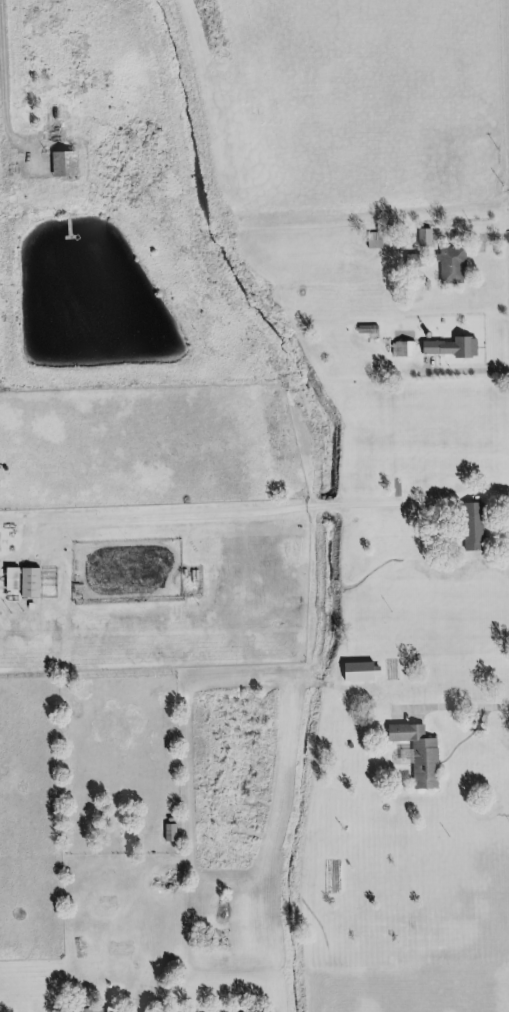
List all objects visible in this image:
road: (1, 105)
building: (54, 121)
building: (63, 165)
road: (472, 237)
building: (420, 238)
building: (375, 241)
building: (407, 260)
building: (446, 266)
building: (361, 329)
building: (444, 346)
building: (405, 350)
road: (456, 371)
road: (246, 510)
building: (466, 526)
building: (25, 582)
building: (354, 671)
road: (448, 709)
building: (397, 733)
building: (419, 764)
building: (165, 832)
building: (170, 834)
road: (163, 1007)
building: (86, 1009)
road: (191, 1009)

